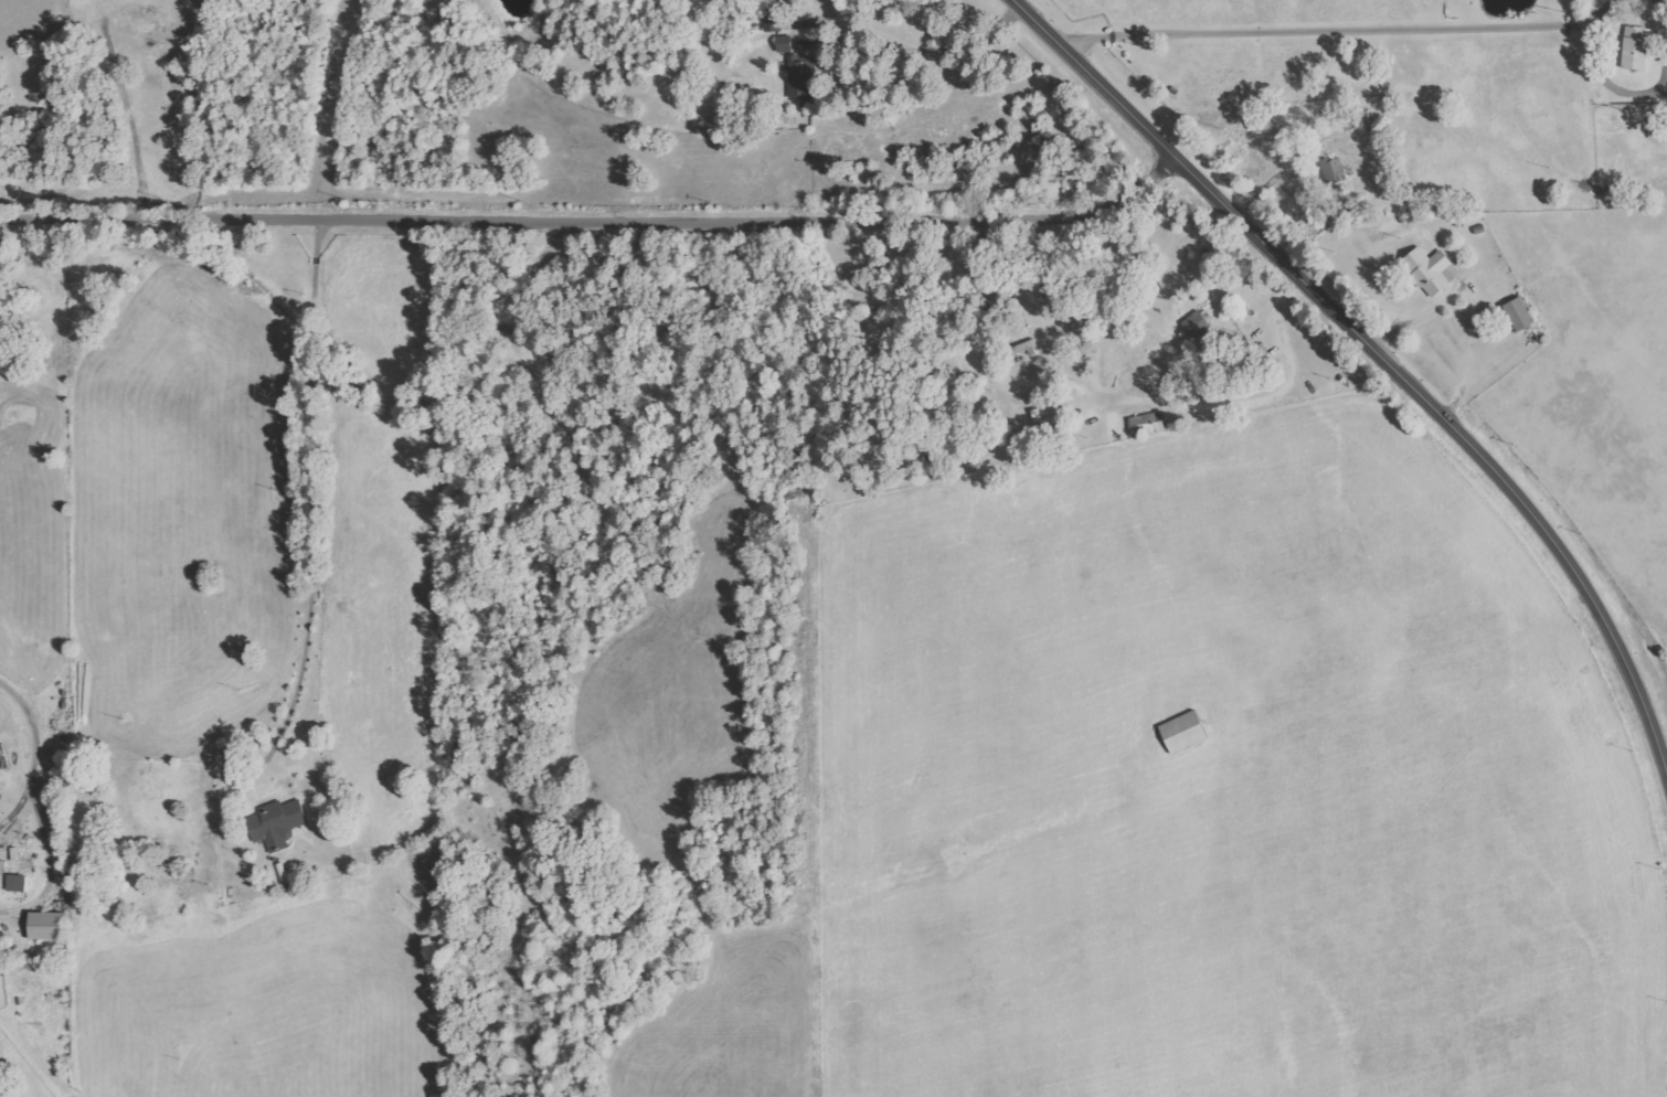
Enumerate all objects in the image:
building: (772, 20)
building: (785, 44)
building: (1636, 47)
building: (1664, 53)
building: (801, 76)
road: (596, 222)
building: (1429, 270)
building: (1519, 315)
building: (1194, 327)
road: (1382, 360)
building: (1147, 424)
road: (320, 505)
building: (1183, 732)
building: (277, 823)
building: (2, 874)
building: (18, 883)
building: (46, 926)

